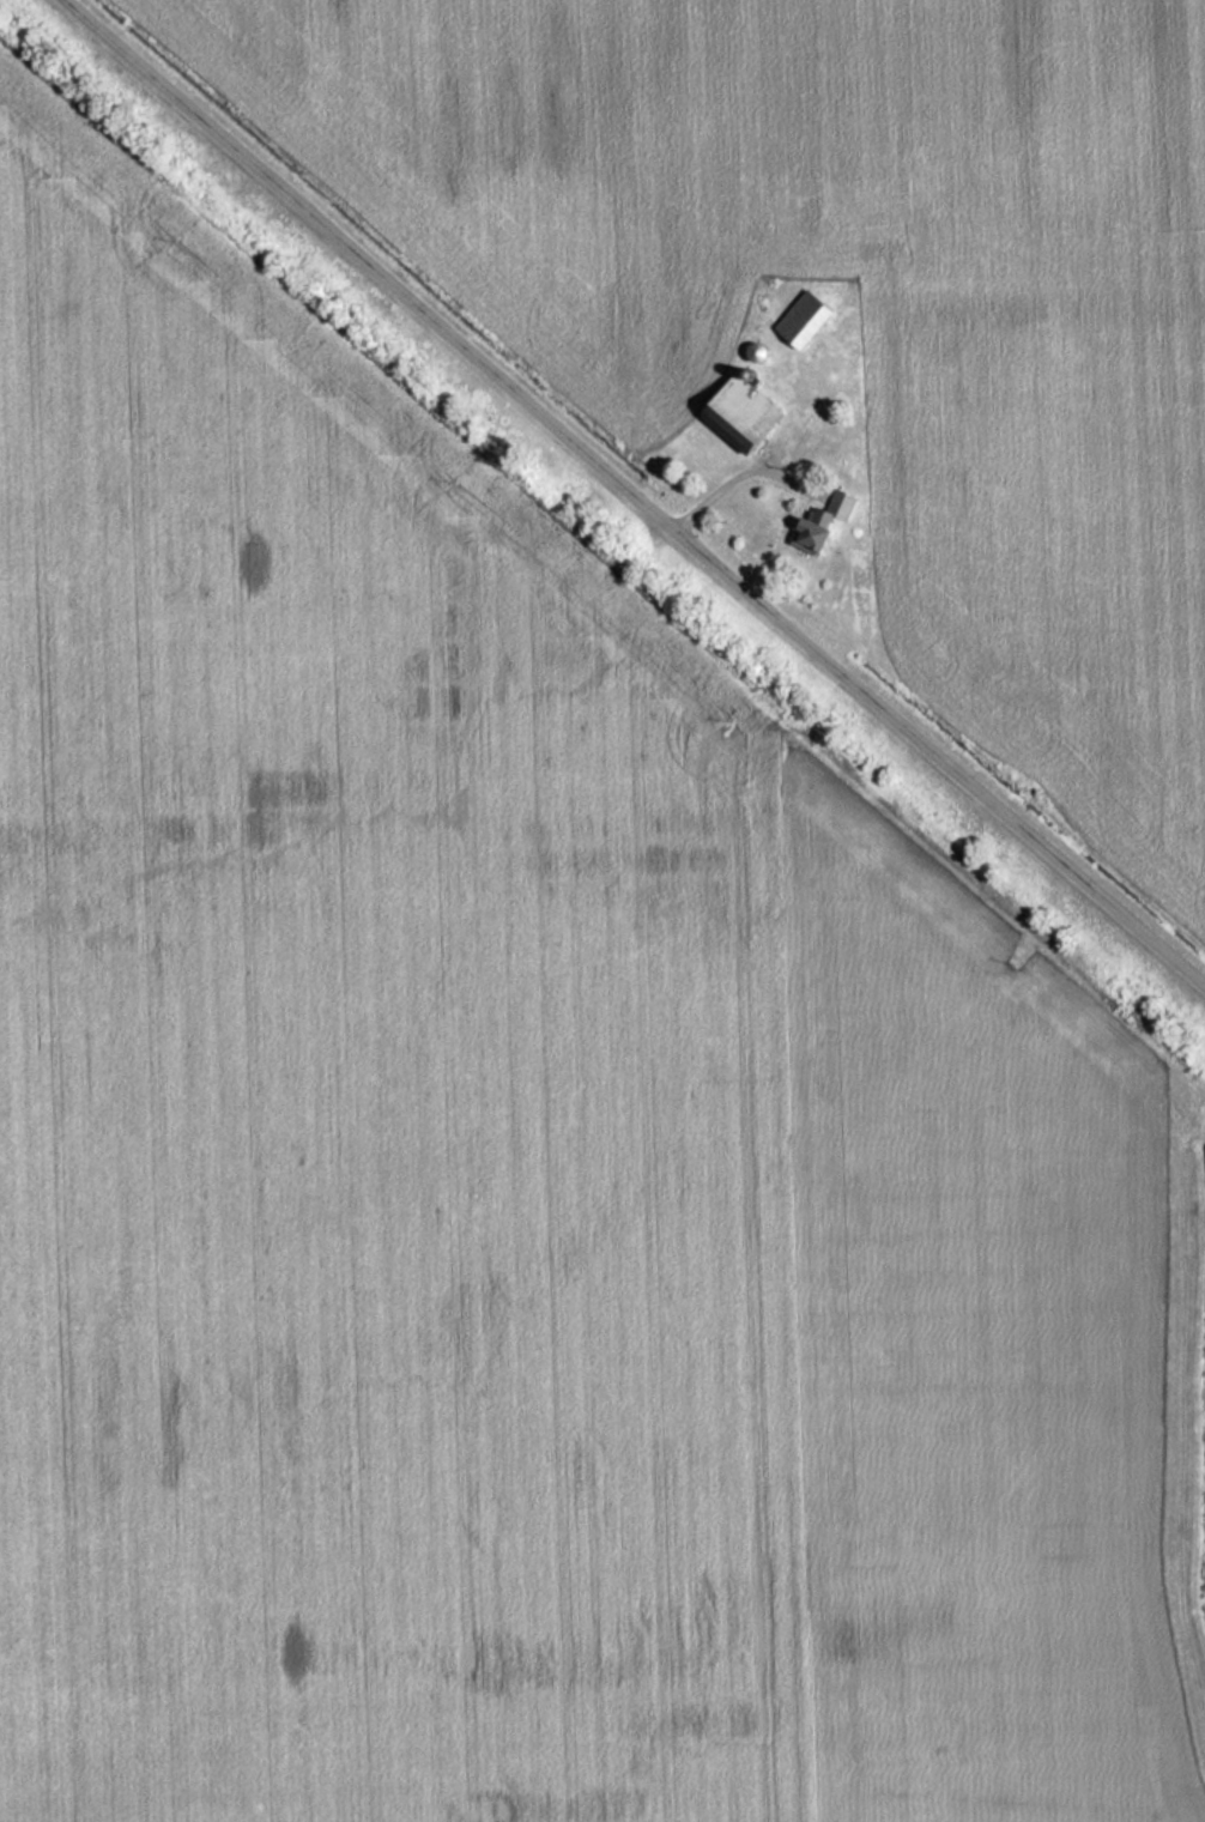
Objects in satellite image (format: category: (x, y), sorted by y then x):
crop: (853, 298)
building: (795, 320)
building: (735, 411)
road: (640, 491)
railway: (602, 562)
crop: (504, 1161)

